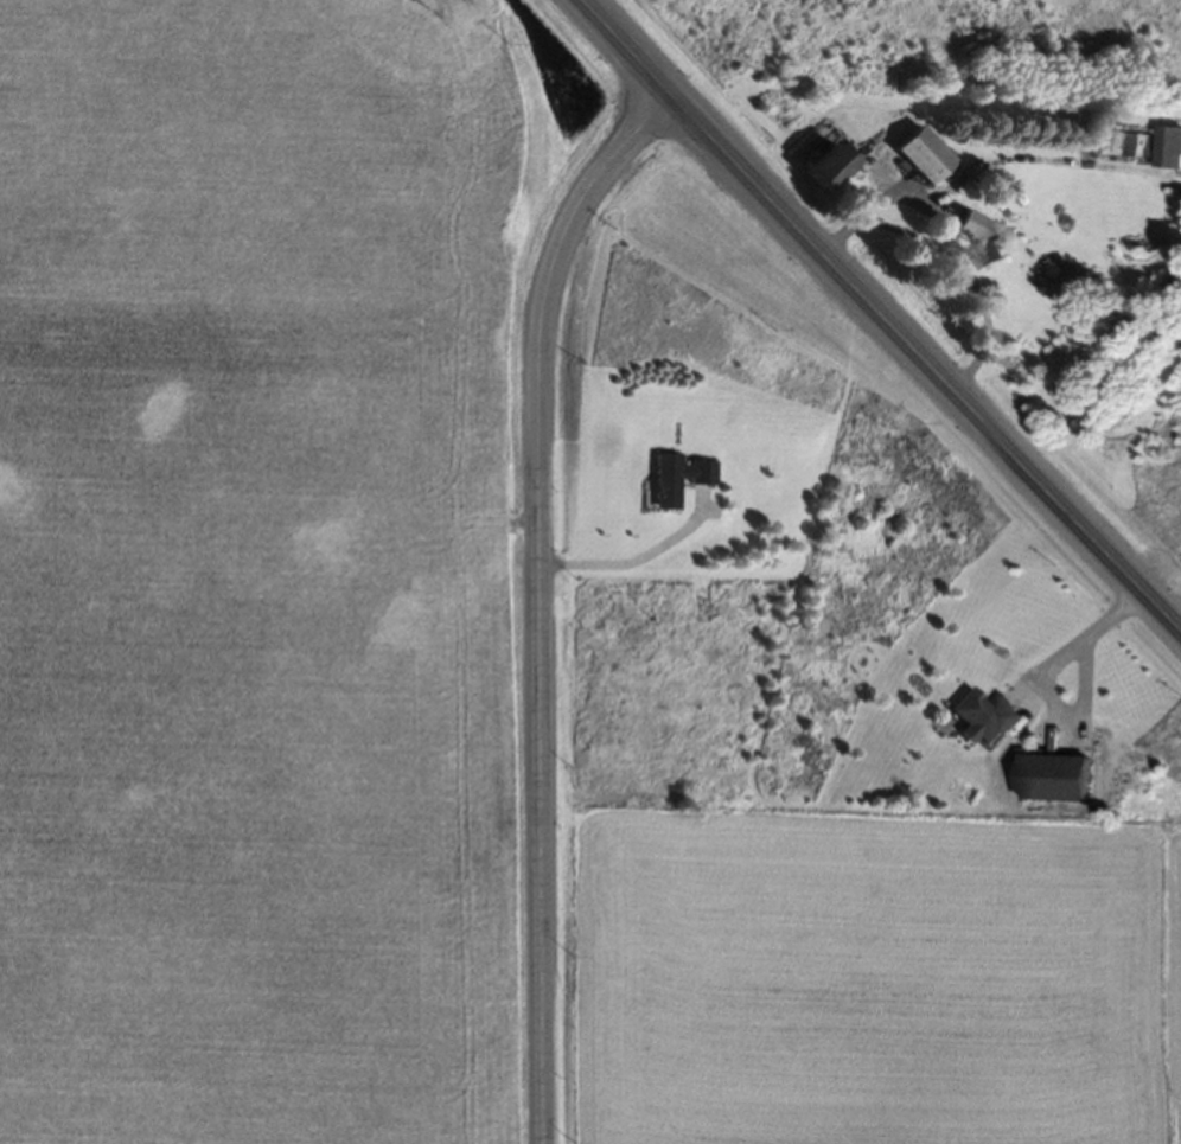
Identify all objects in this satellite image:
road: (643, 41)
building: (1143, 149)
building: (921, 159)
building: (826, 170)
building: (979, 239)
road: (949, 263)
road: (930, 351)
building: (675, 481)
road: (537, 592)
road: (1096, 633)
building: (985, 722)

